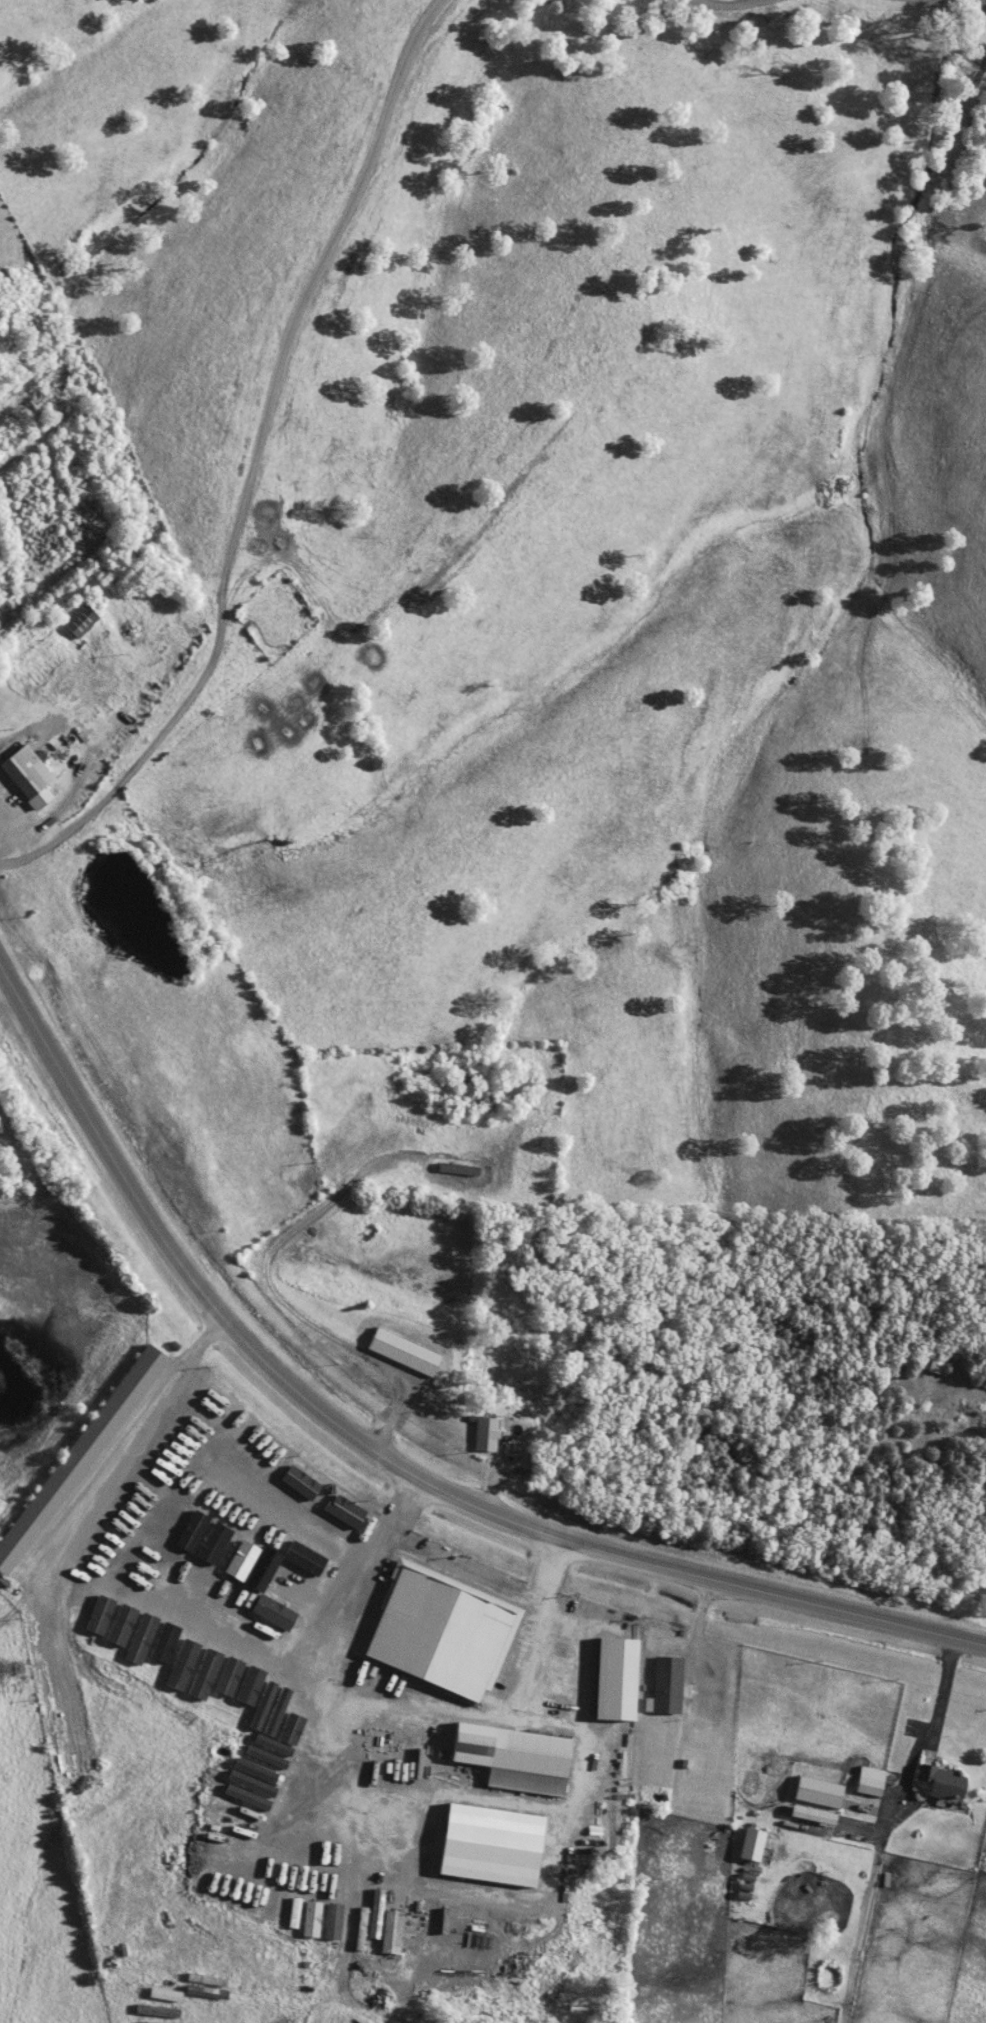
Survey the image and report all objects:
building: (79, 623)
building: (26, 779)
road: (5, 827)
building: (404, 1122)
building: (455, 1170)
road: (283, 1294)
building: (400, 1353)
building: (483, 1435)
road: (385, 1453)
building: (75, 1455)
road: (158, 1552)
building: (437, 1563)
building: (266, 1564)
road: (461, 1572)
building: (320, 1575)
building: (286, 1579)
building: (431, 1588)
building: (75, 1591)
building: (88, 1598)
building: (136, 1616)
building: (149, 1621)
building: (176, 1633)
building: (215, 1645)
building: (239, 1652)
building: (437, 1654)
building: (260, 1666)
building: (345, 1668)
building: (281, 1675)
building: (303, 1685)
building: (665, 1686)
building: (410, 1736)
road: (924, 1736)
building: (507, 1756)
building: (937, 1780)
building: (866, 1788)
building: (815, 1794)
building: (810, 1817)
building: (750, 1846)
building: (272, 1896)
building: (290, 1899)
building: (323, 1905)

